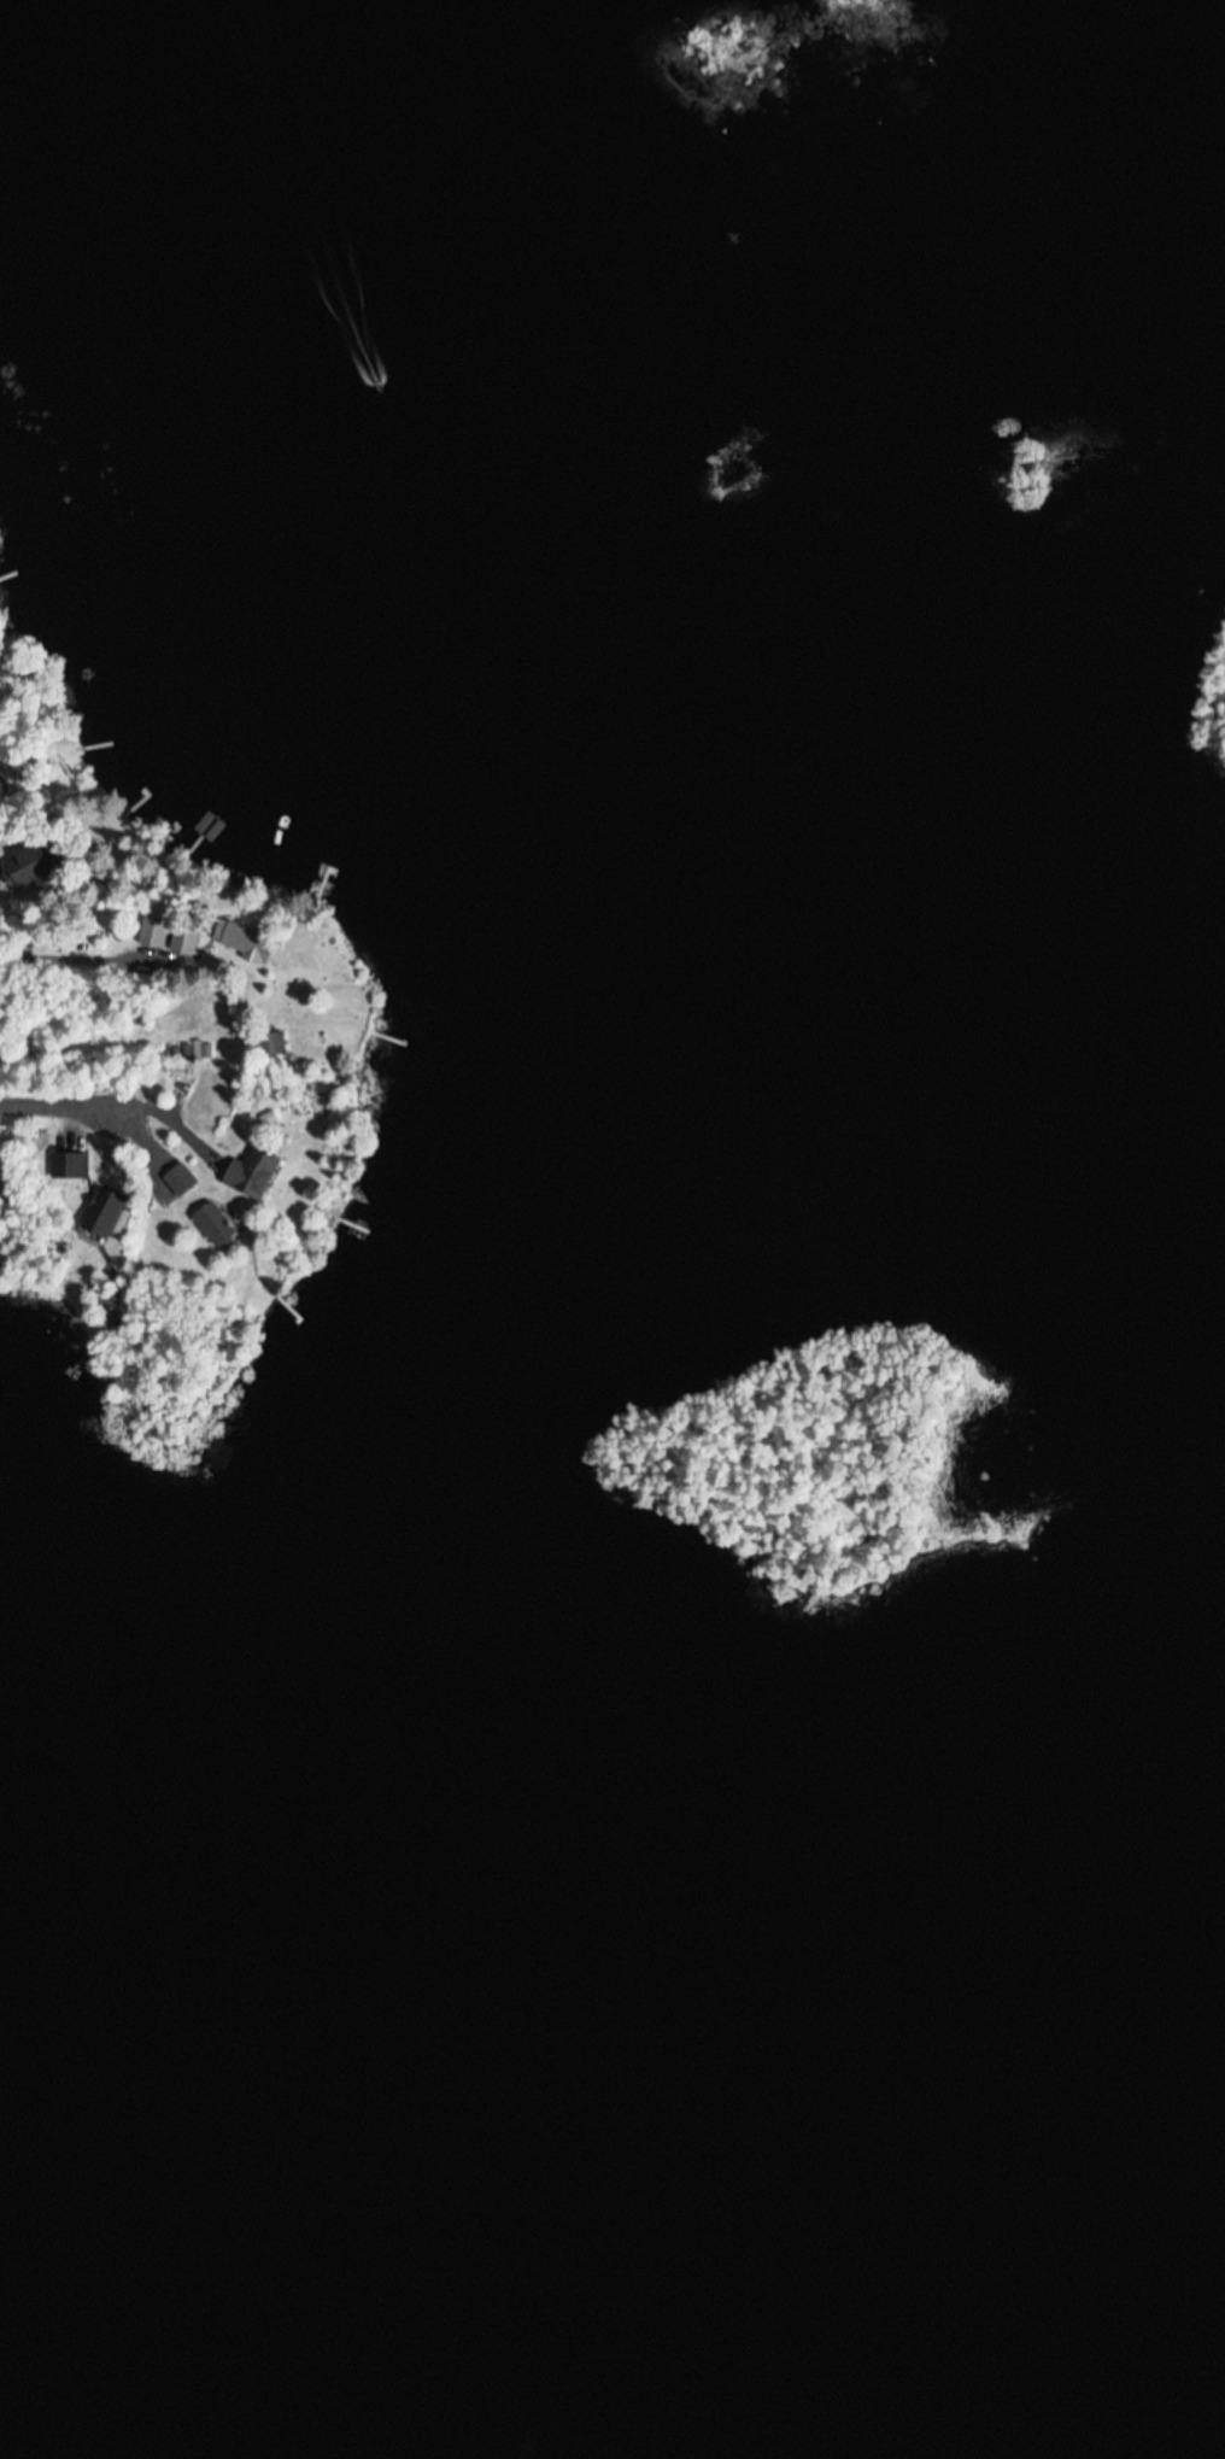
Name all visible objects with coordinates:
building: (35, 867)
building: (153, 930)
road: (4, 935)
building: (184, 938)
building: (242, 938)
road: (96, 1019)
road: (121, 1118)
building: (256, 1170)
building: (182, 1177)
building: (102, 1214)
building: (221, 1224)

